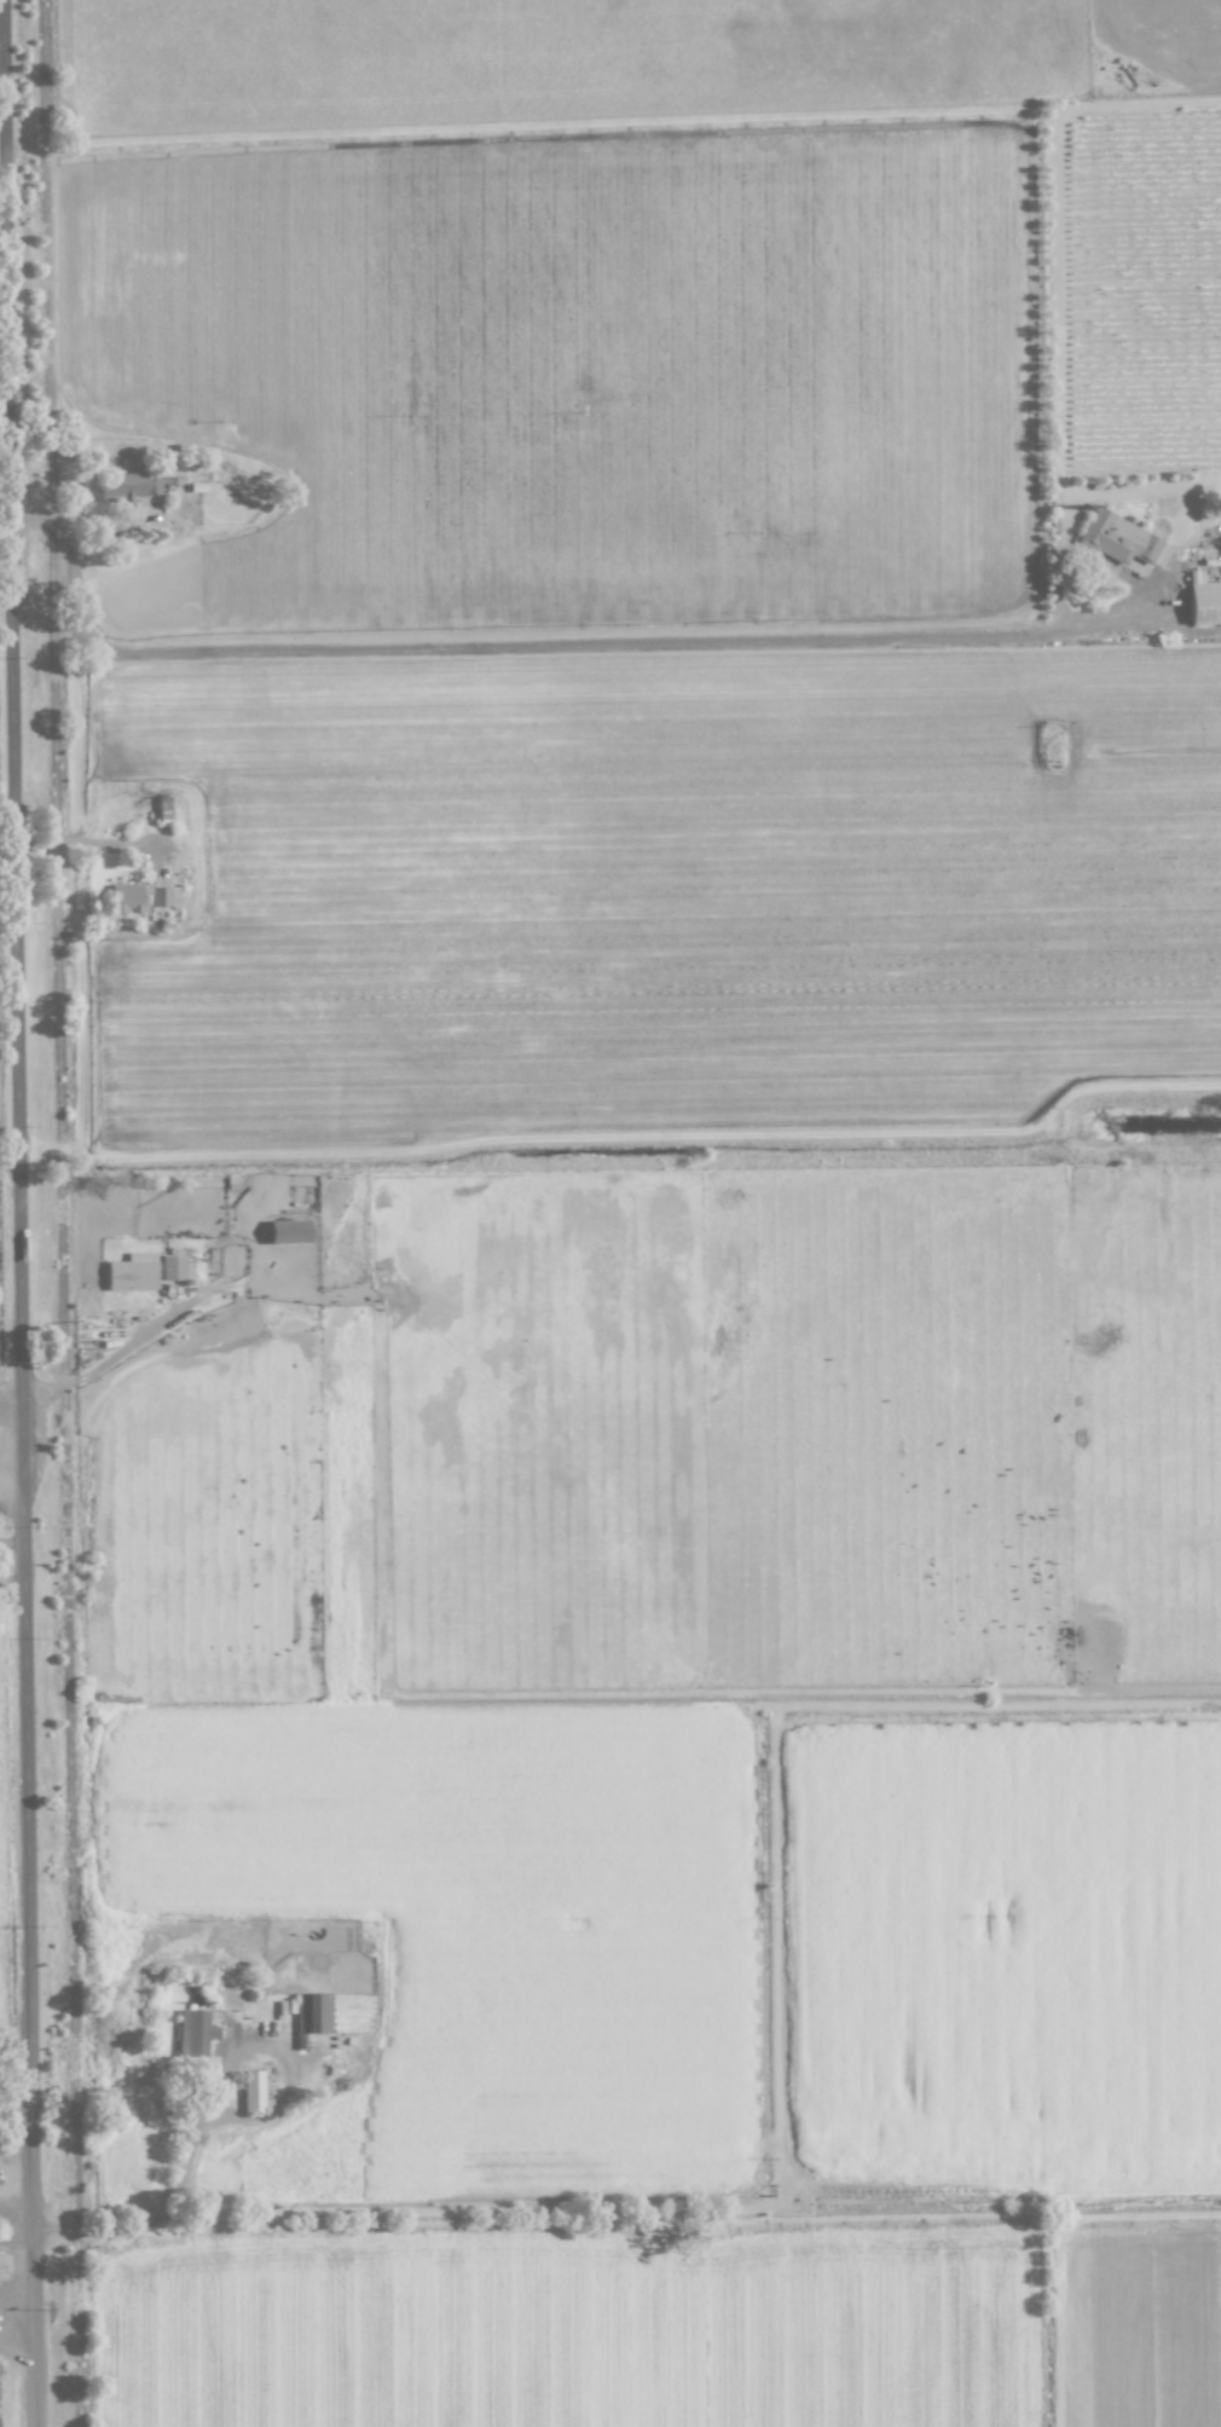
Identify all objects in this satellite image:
building: (133, 487)
building: (1117, 538)
building: (1203, 600)
road: (530, 646)
road: (89, 843)
building: (162, 894)
building: (128, 898)
road: (18, 1213)
building: (287, 1232)
building: (172, 1267)
building: (132, 1273)
road: (143, 1333)
road: (50, 1391)
building: (311, 2015)
building: (193, 2033)
building: (251, 2091)
road: (215, 2117)
road: (11, 2215)
road: (25, 2230)
road: (15, 2243)
building: (0, 2270)
road: (7, 2290)
road: (16, 2305)
road: (7, 2344)

